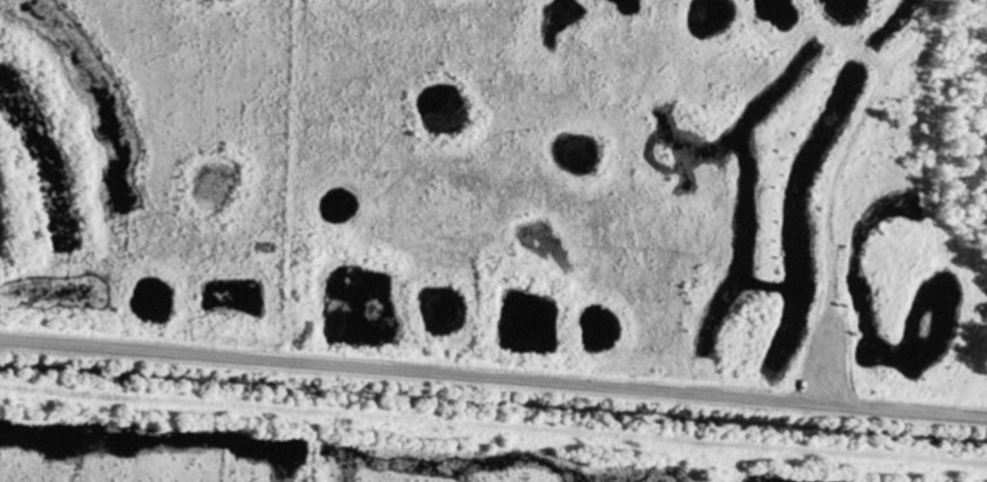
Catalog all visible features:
road: (493, 379)

